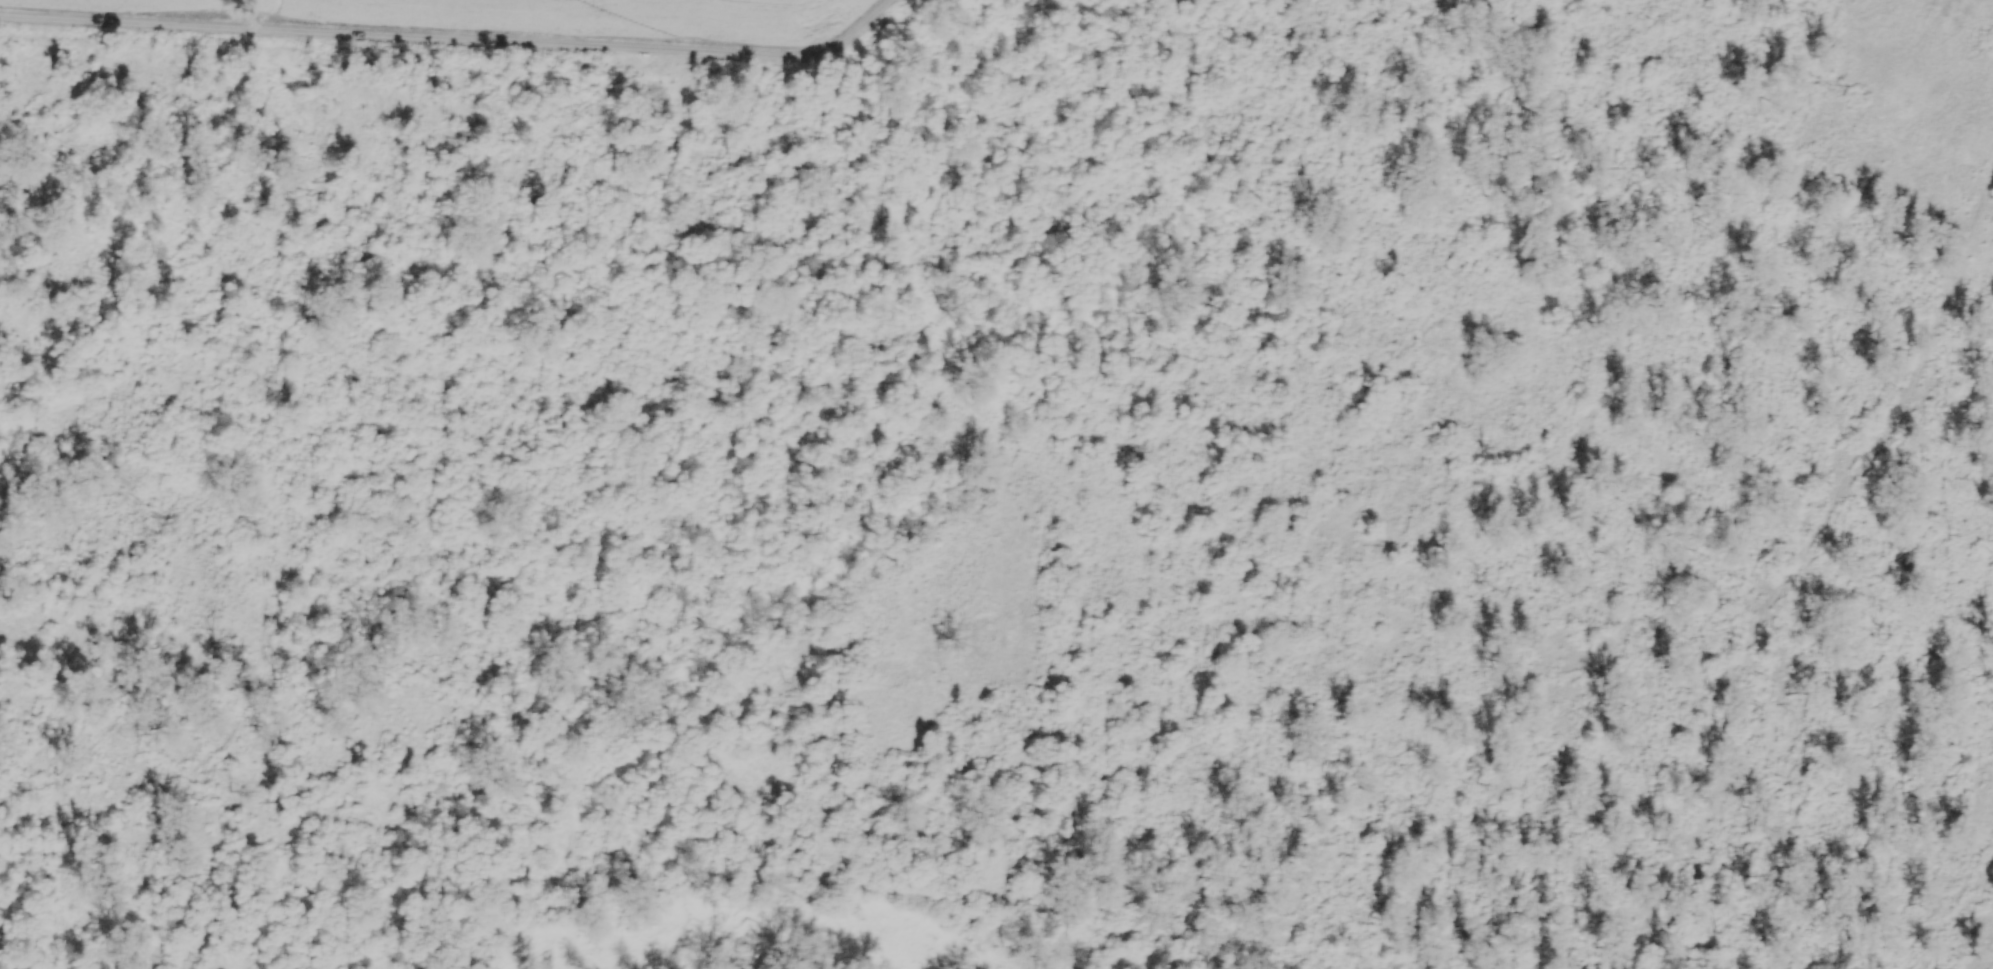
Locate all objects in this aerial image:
crop: (120, 2)
crop: (623, 14)
road: (456, 38)

